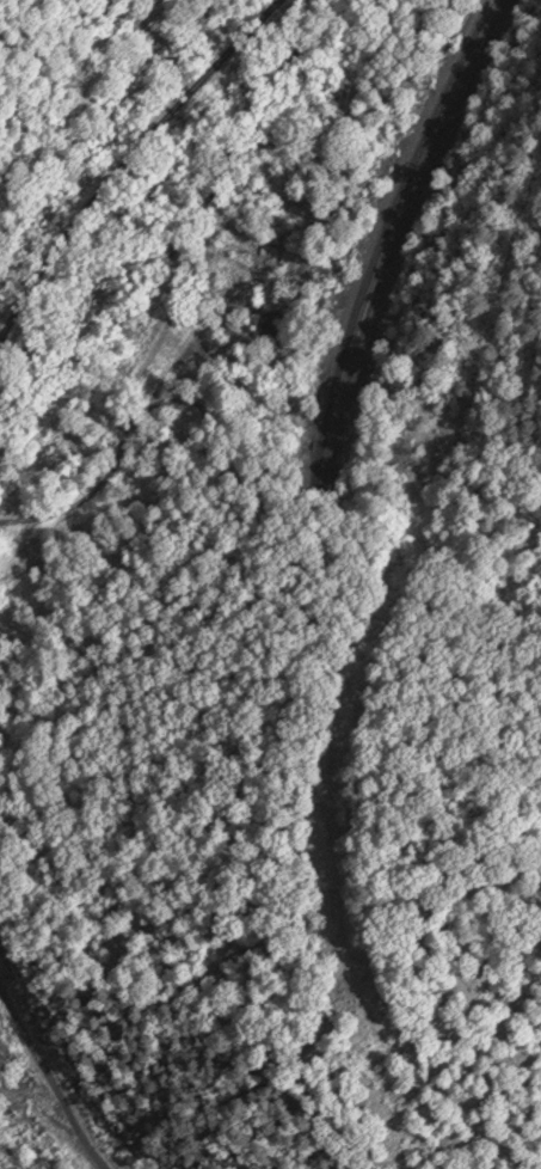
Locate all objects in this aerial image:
road: (125, 159)
railway: (381, 237)
railway: (393, 239)
road: (47, 1081)

